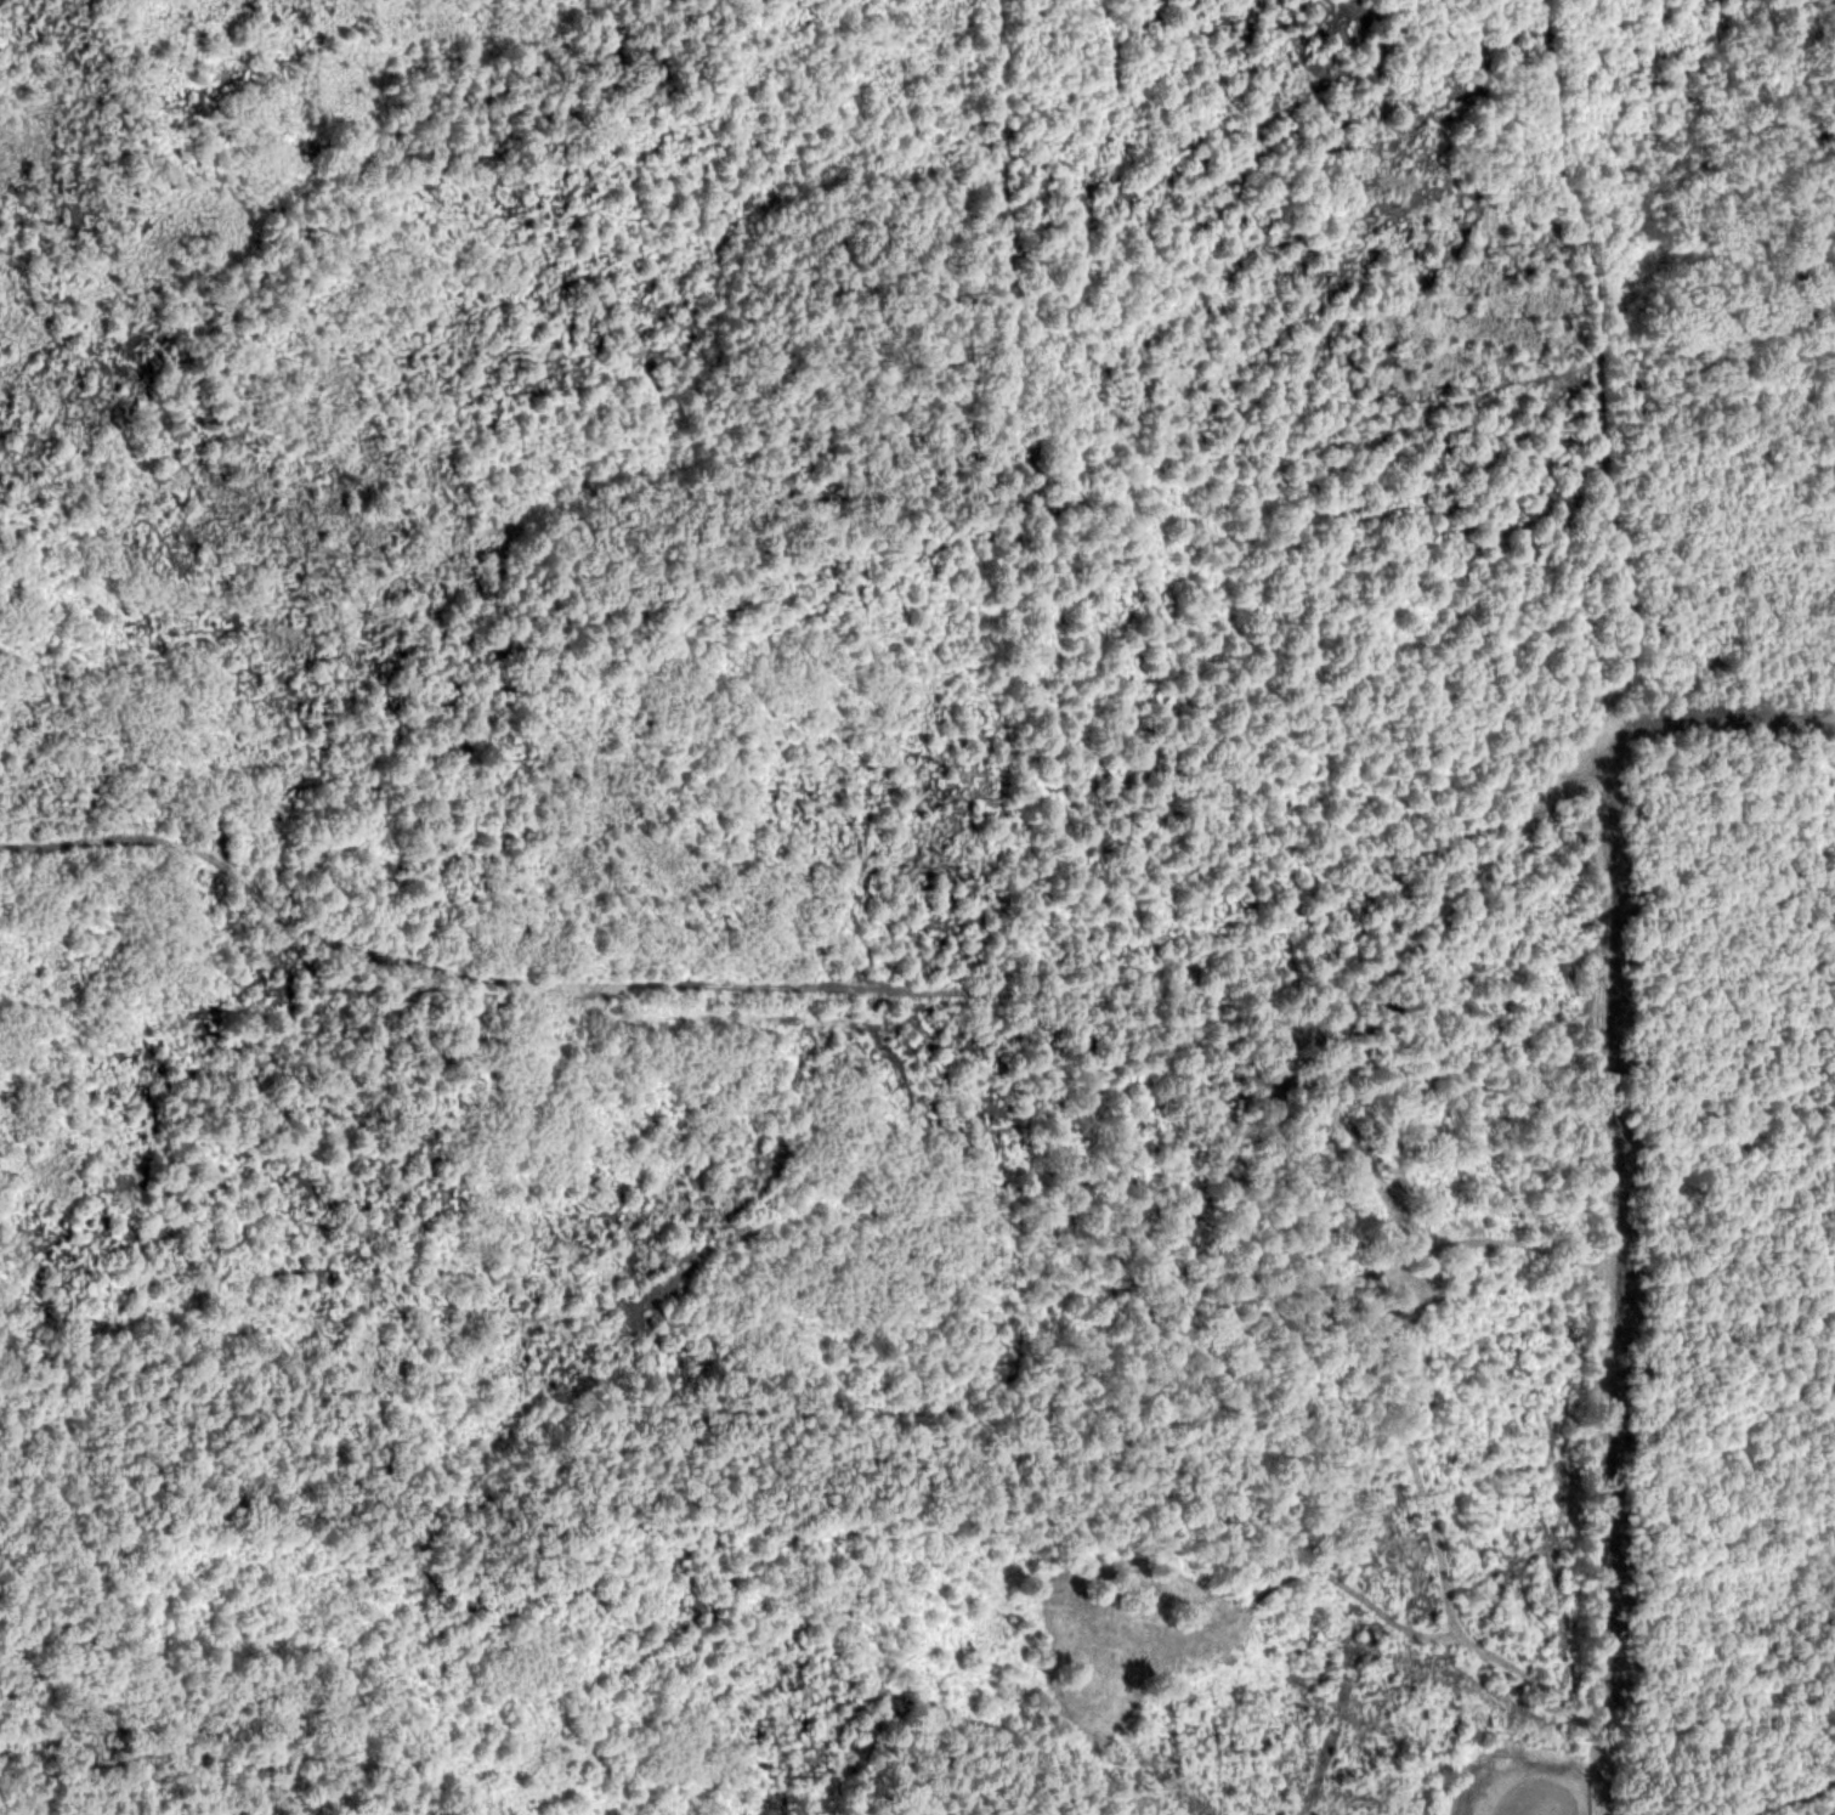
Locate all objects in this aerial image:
building: (1426, 1297)

